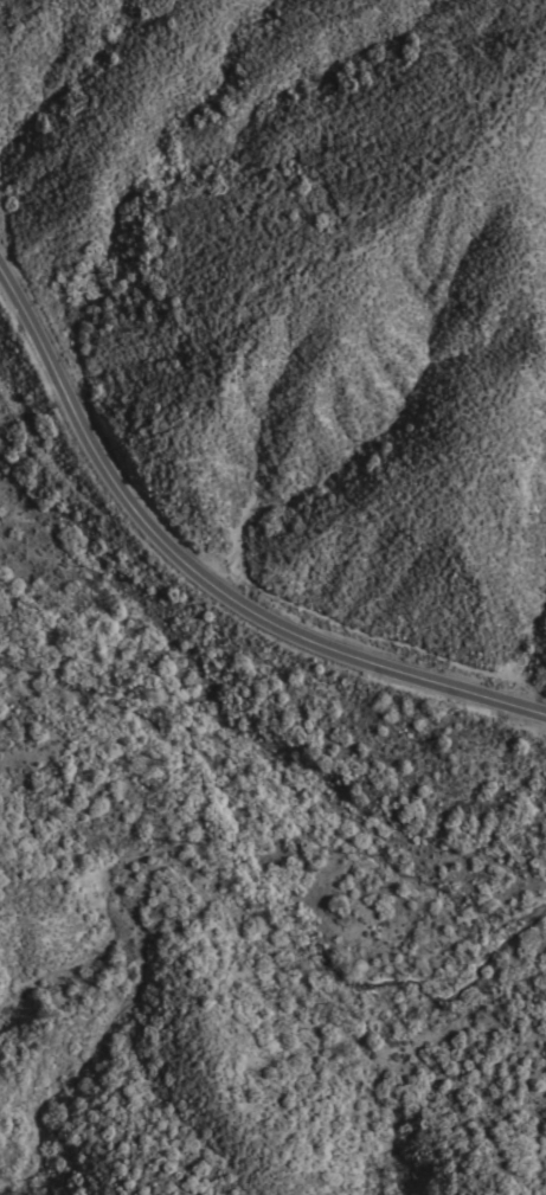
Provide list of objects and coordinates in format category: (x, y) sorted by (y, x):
road: (204, 579)

